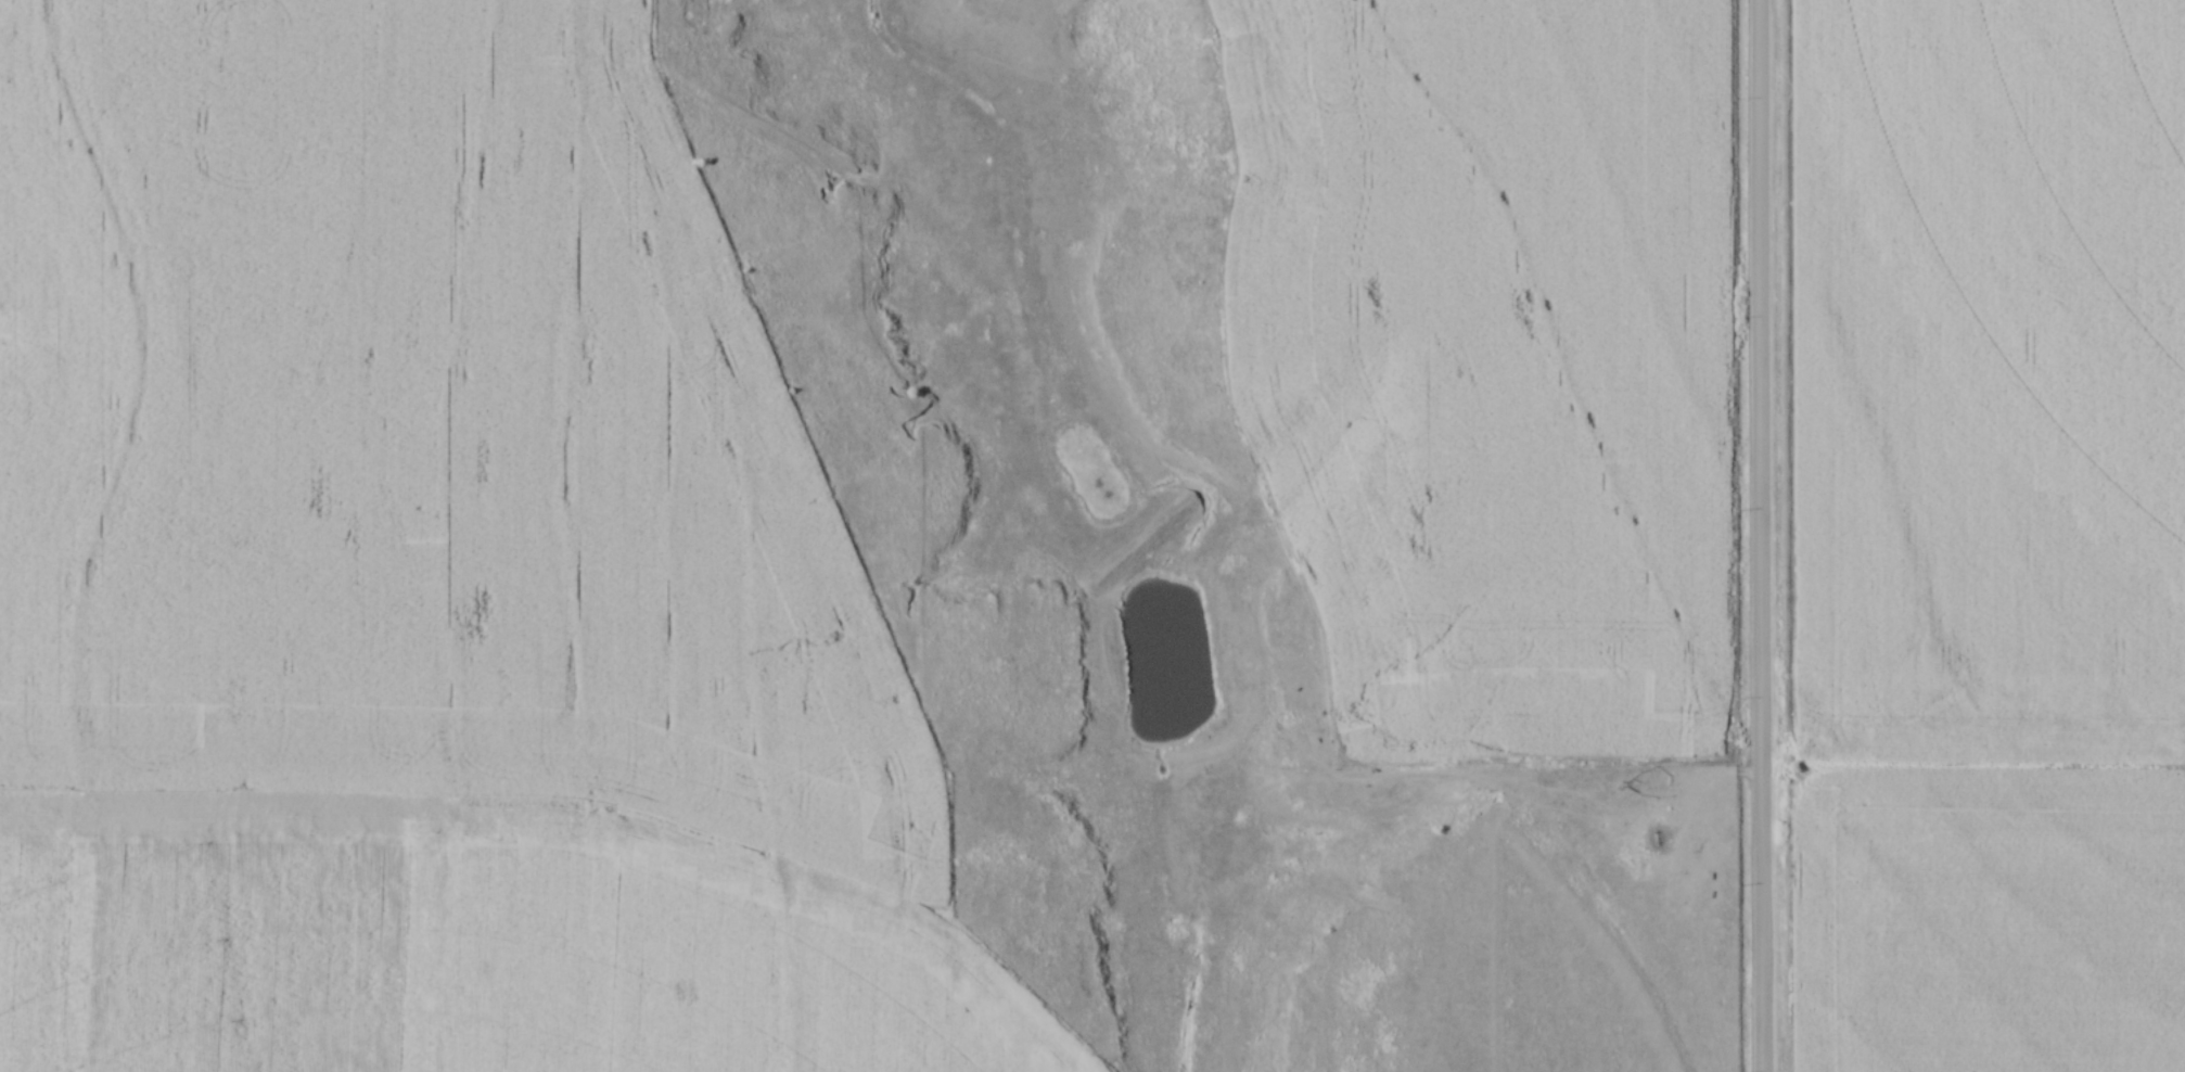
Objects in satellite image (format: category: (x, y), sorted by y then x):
road: (1754, 536)

